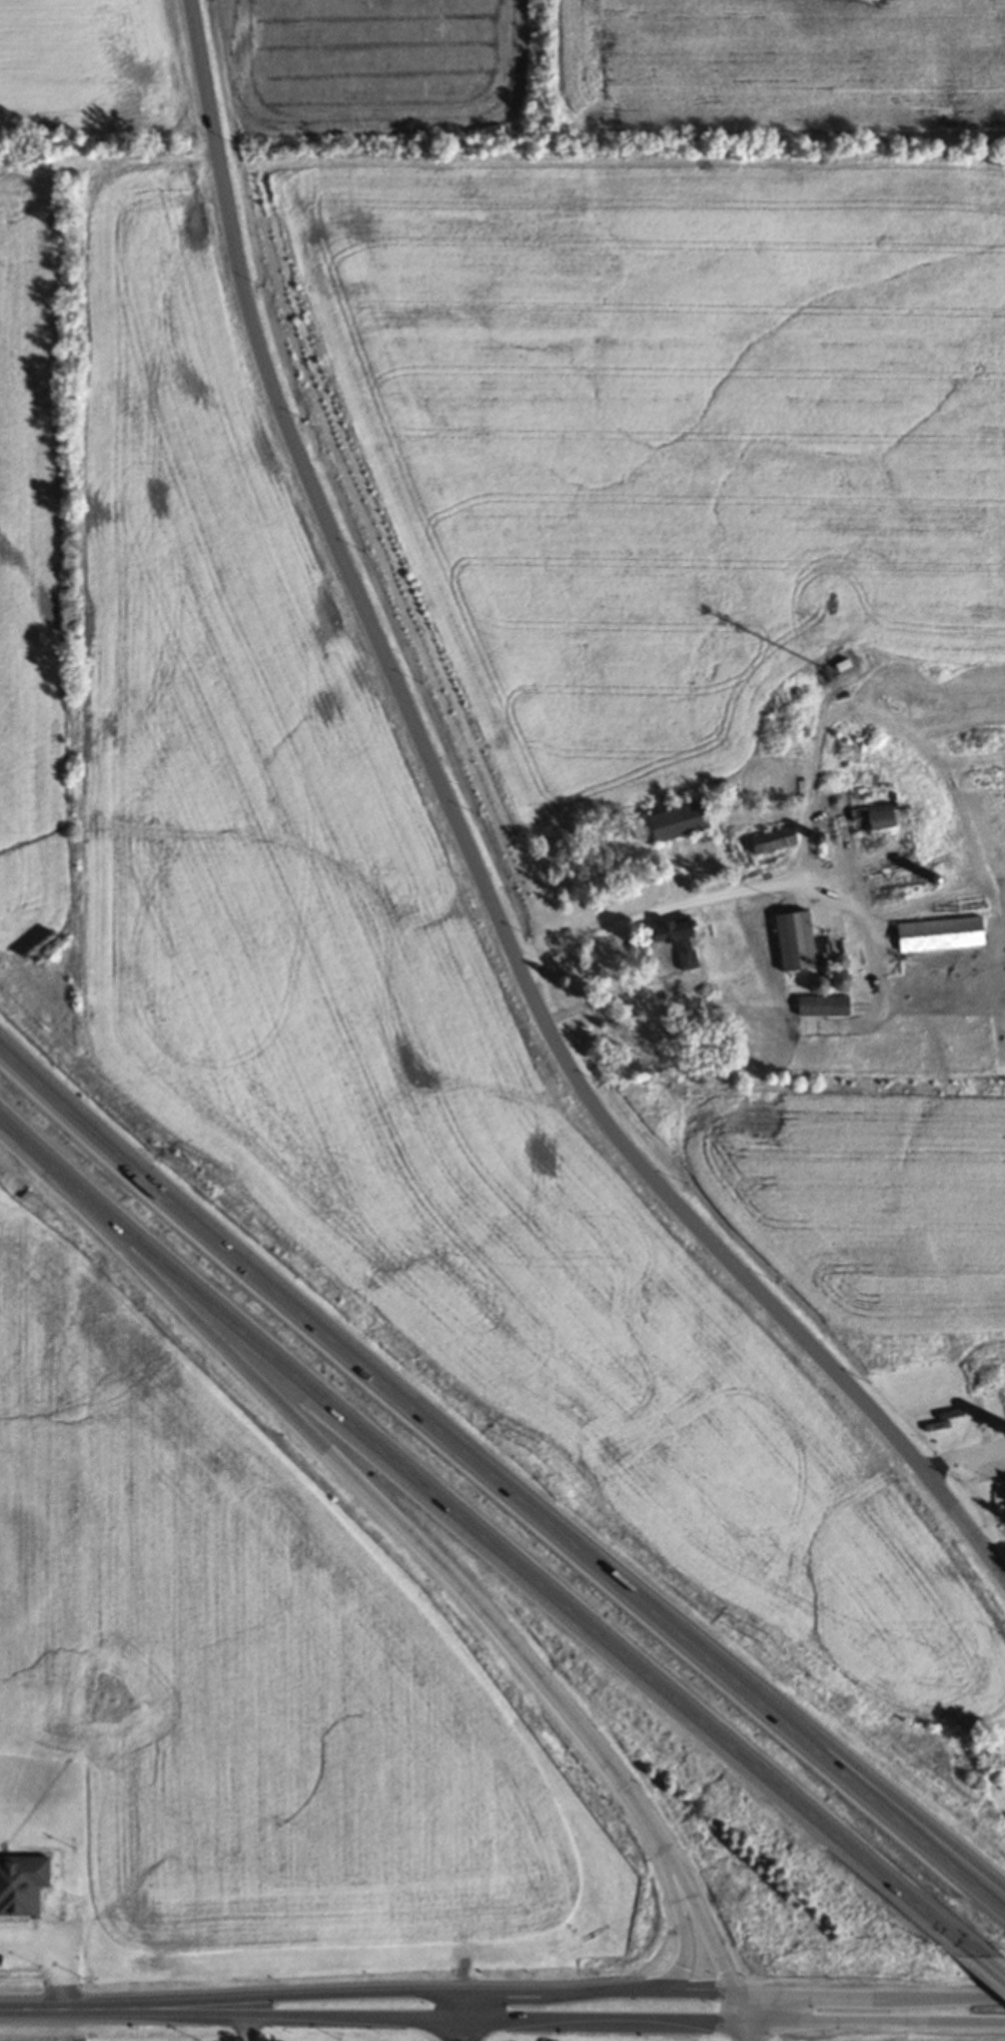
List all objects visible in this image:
building: (845, 664)
building: (882, 816)
building: (681, 821)
building: (771, 841)
road: (471, 856)
road: (664, 908)
building: (943, 934)
building: (681, 939)
building: (798, 940)
building: (814, 1005)
power tower: (212, 1172)
building: (951, 1417)
power tower: (533, 1445)
road: (961, 1457)
road: (501, 1480)
road: (384, 1503)
road: (487, 1541)
road: (1001, 1565)
power tower: (765, 1644)
park: (976, 1759)
road: (880, 1784)
building: (23, 1884)
road: (694, 1917)
road: (680, 1921)
road: (52, 1953)
road: (992, 1966)
road: (694, 1994)
road: (866, 1995)
road: (561, 1996)
road: (277, 2000)
road: (46, 2009)
road: (736, 2010)
road: (280, 2018)
road: (466, 2019)
road: (605, 2025)
road: (874, 2027)
road: (247, 2029)
road: (747, 2034)

